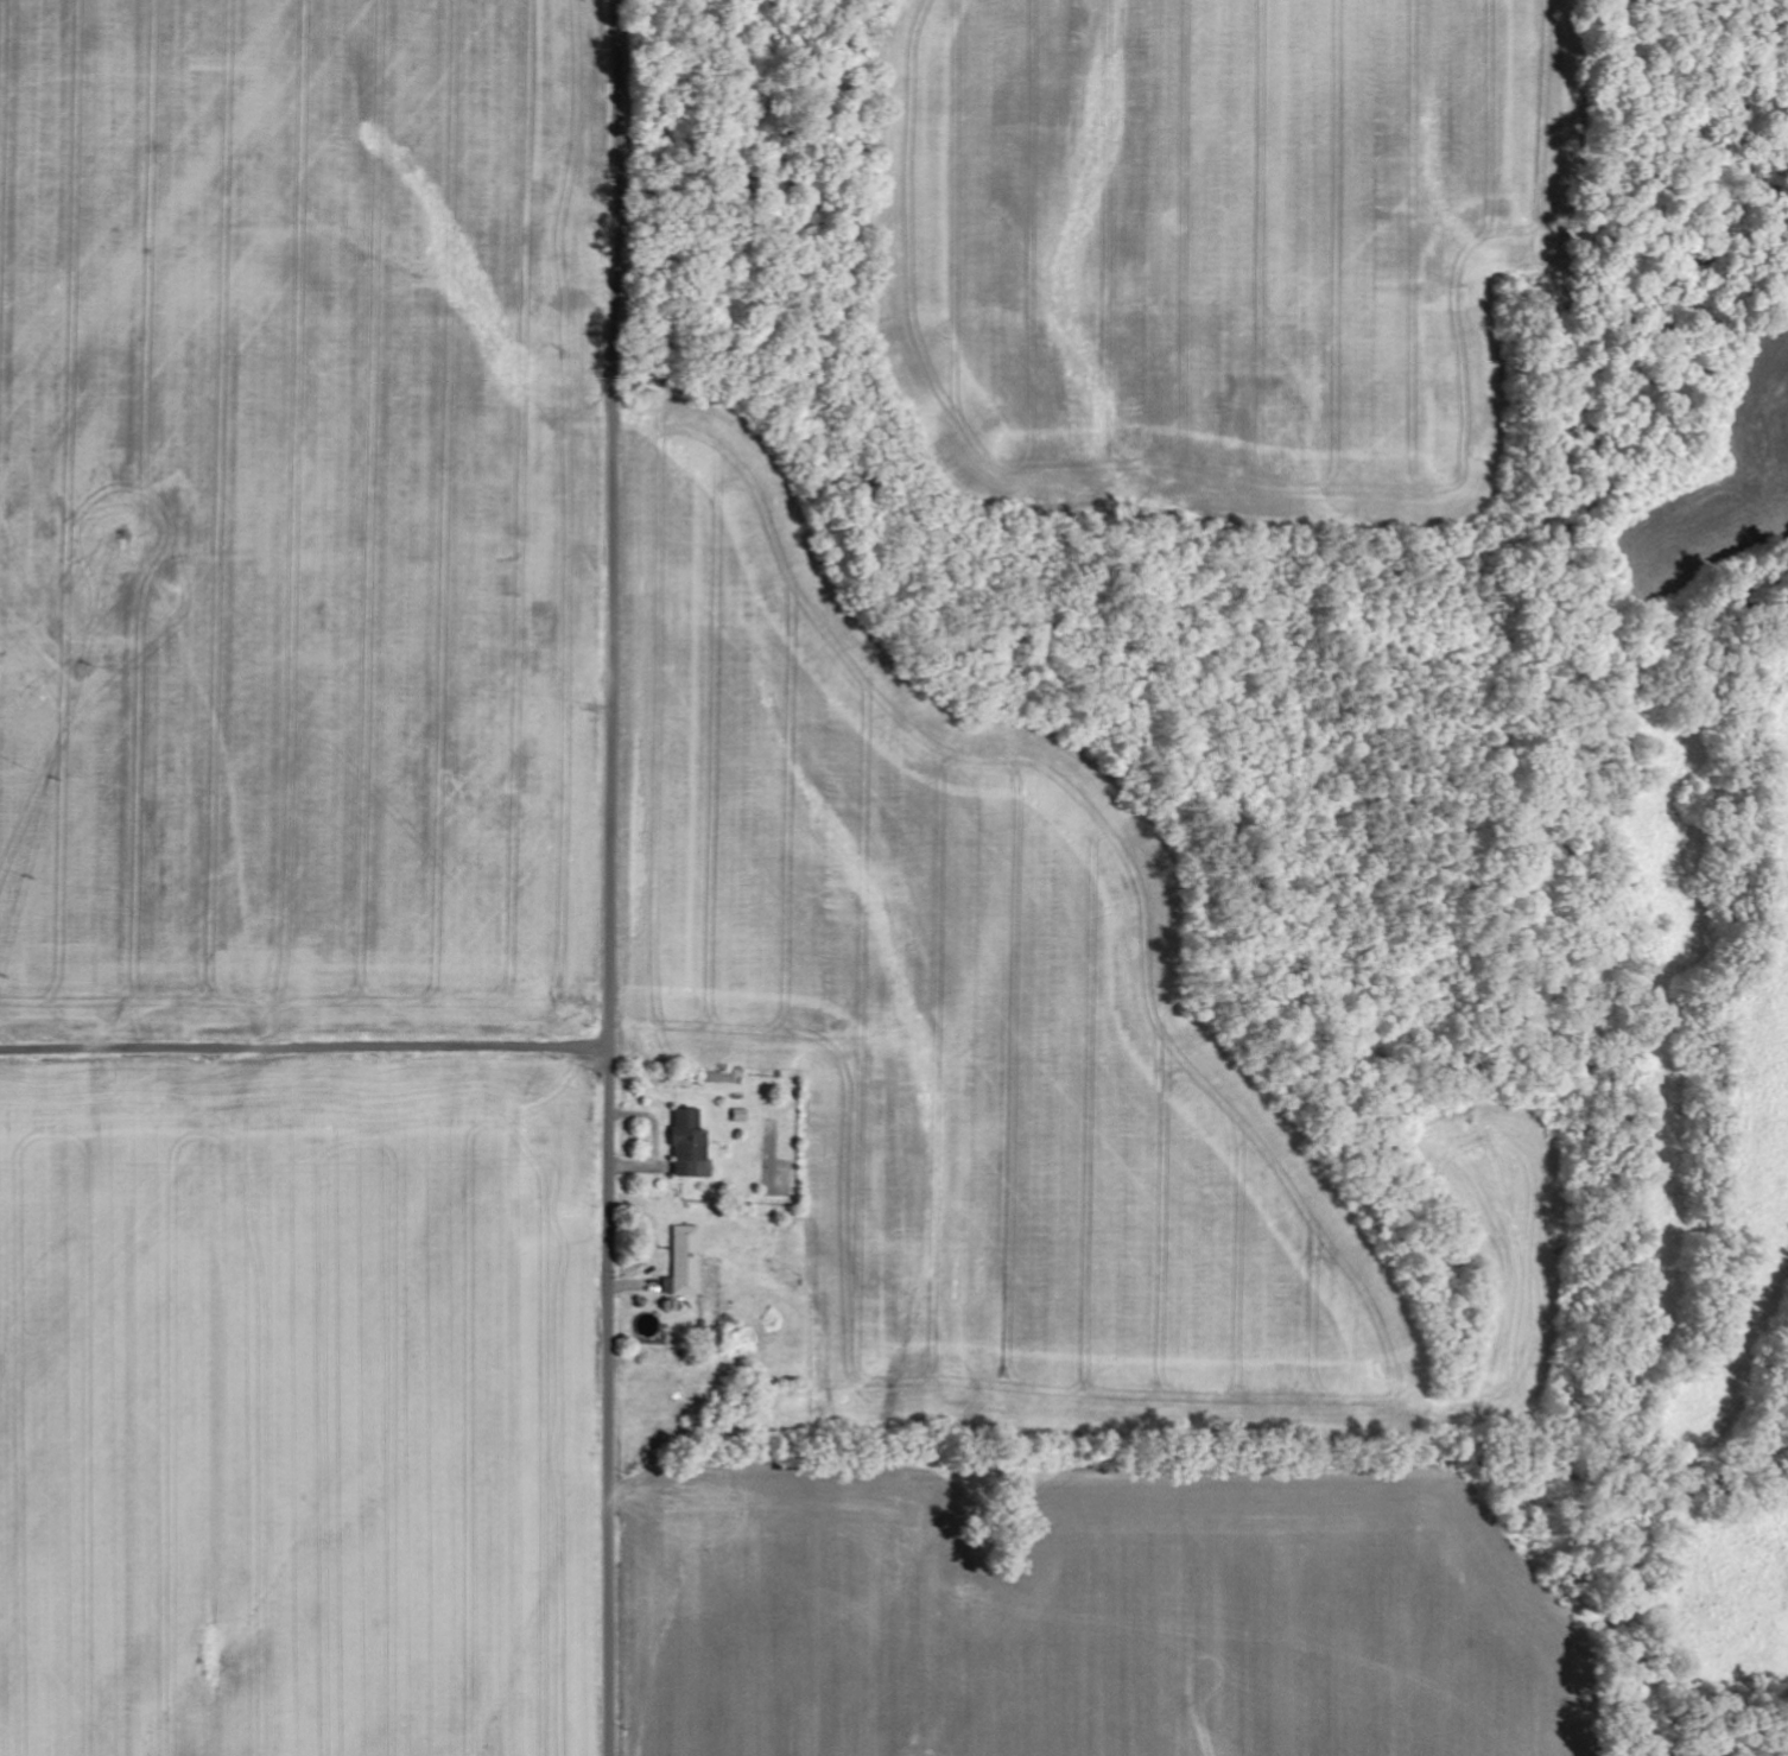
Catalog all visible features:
road: (621, 233)
road: (305, 1047)
road: (610, 1111)
building: (687, 1260)

